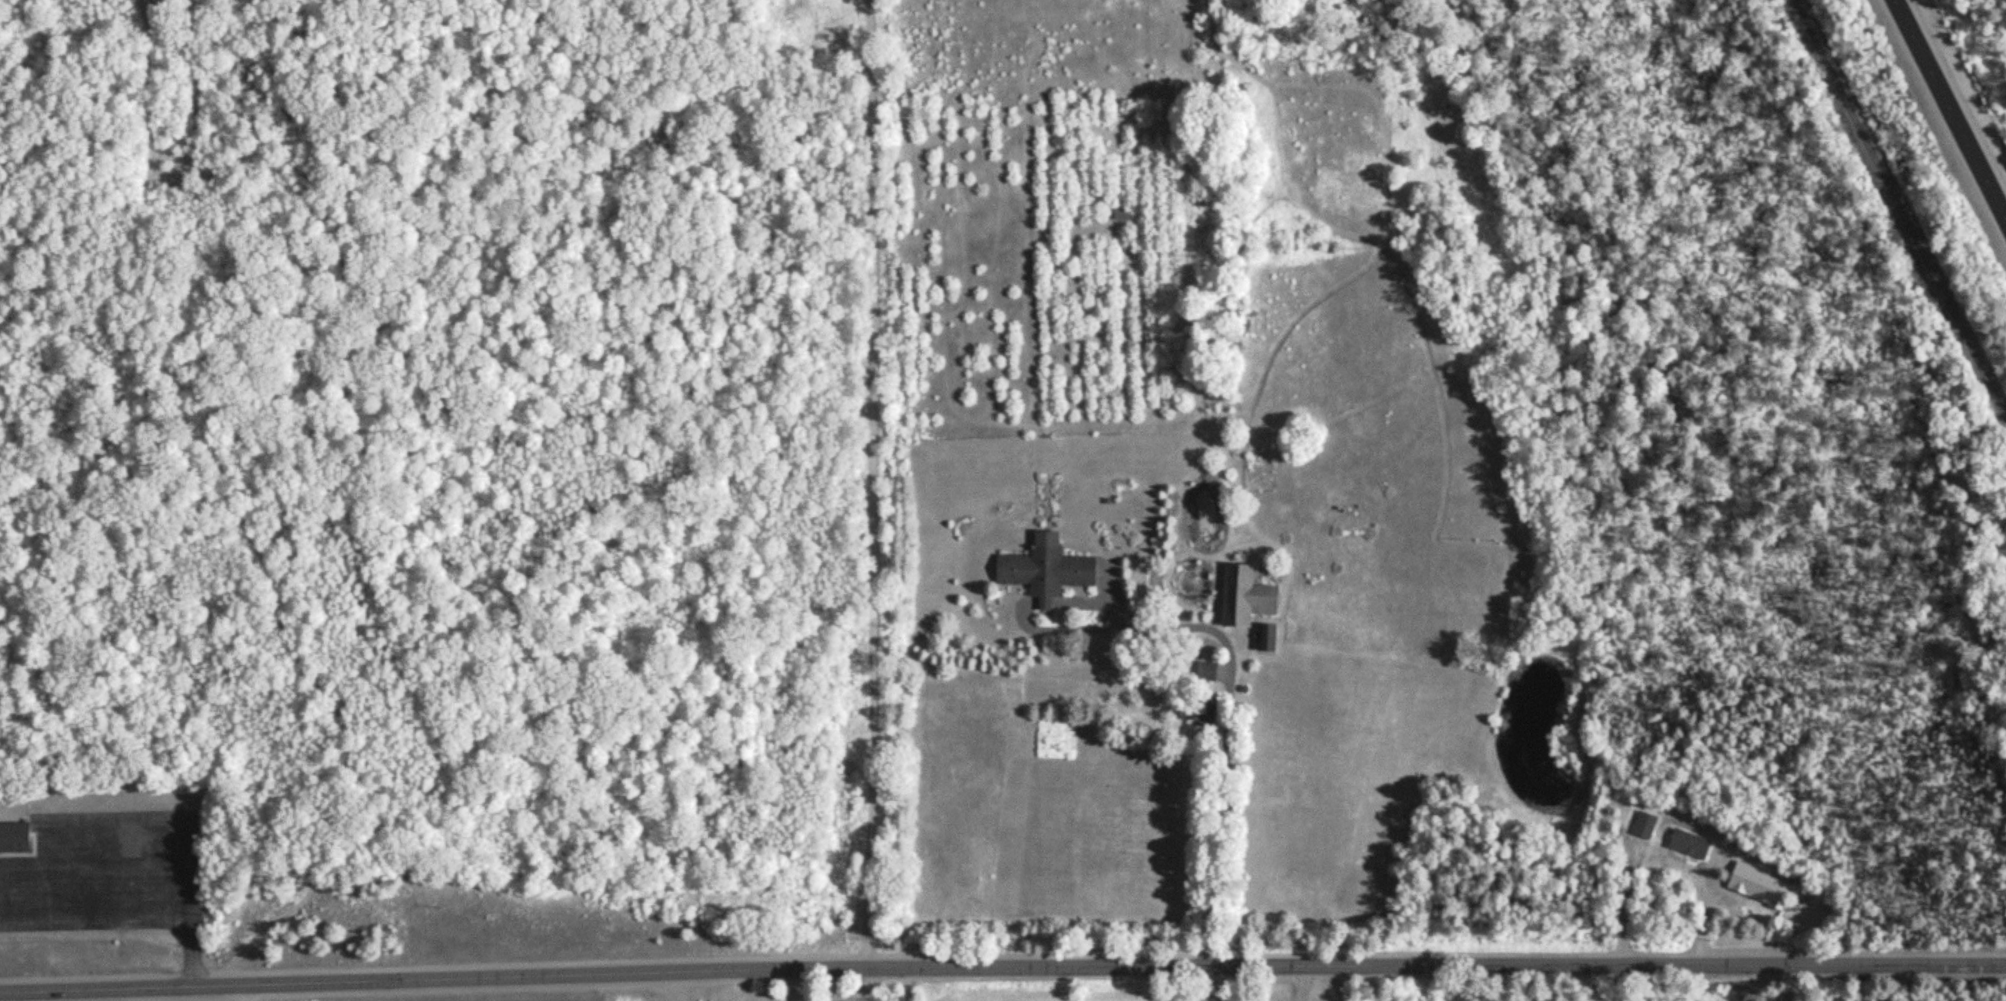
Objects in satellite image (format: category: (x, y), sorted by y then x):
road: (1950, 108)
railway: (1899, 208)
building: (1120, 213)
road: (875, 482)
road: (220, 495)
building: (1044, 567)
building: (1242, 595)
building: (1266, 637)
building: (1194, 705)
building: (1643, 823)
building: (14, 835)
building: (1687, 843)
building: (1757, 883)
road: (1002, 964)
road: (1854, 981)
road: (871, 983)
road: (243, 992)

